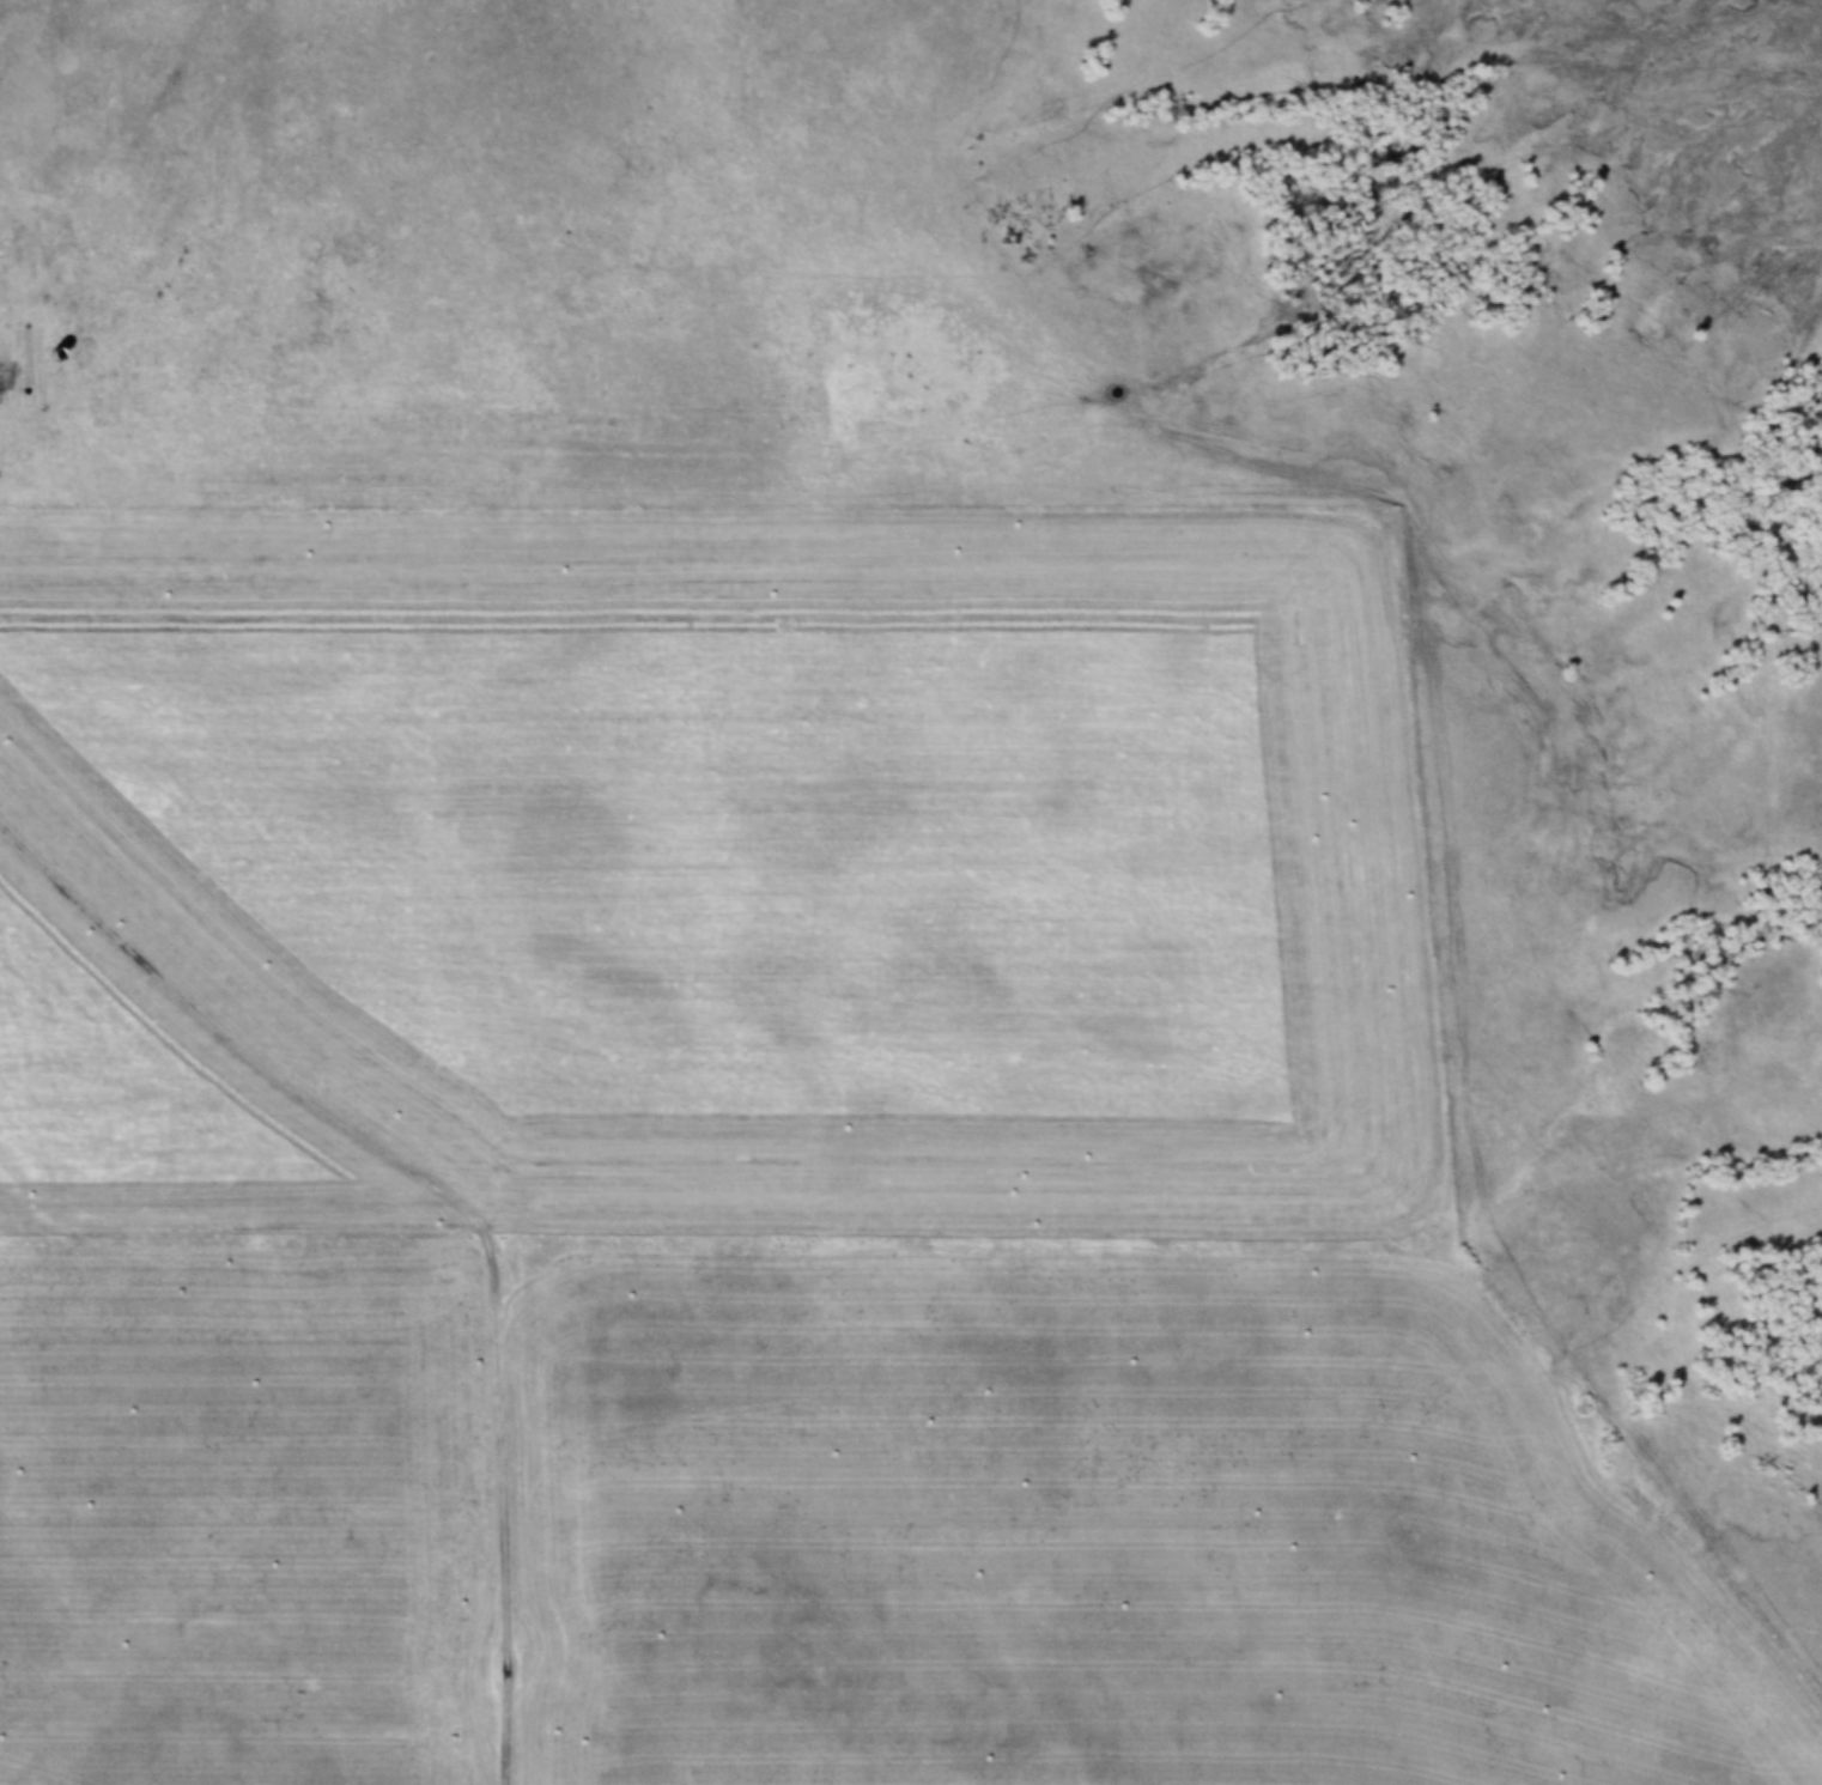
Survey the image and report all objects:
road: (237, 260)
building: (35, 342)
silo: (35, 342)
road: (494, 1247)

